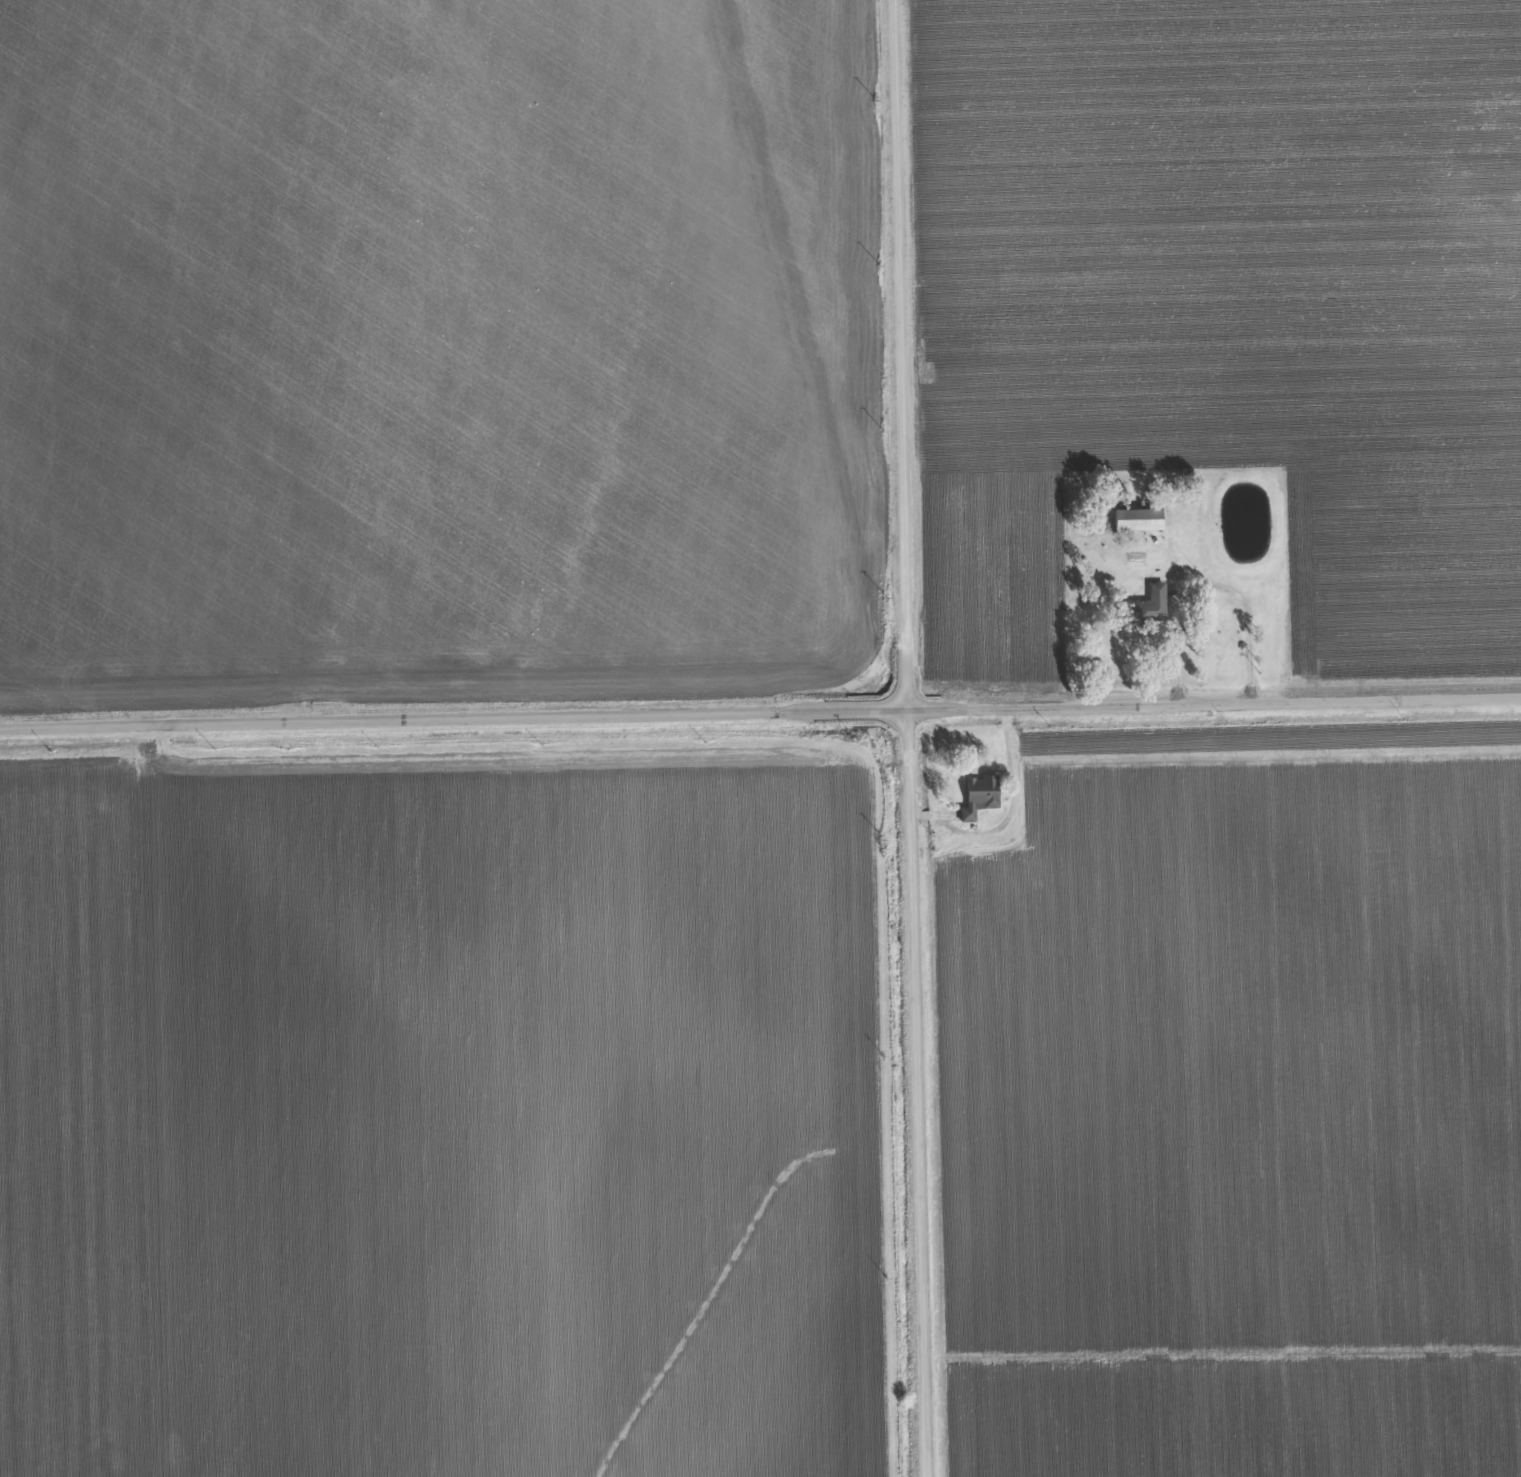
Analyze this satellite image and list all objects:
road: (149, 614)
road: (1247, 635)
road: (760, 713)
road: (903, 738)
building: (967, 815)
road: (956, 833)

